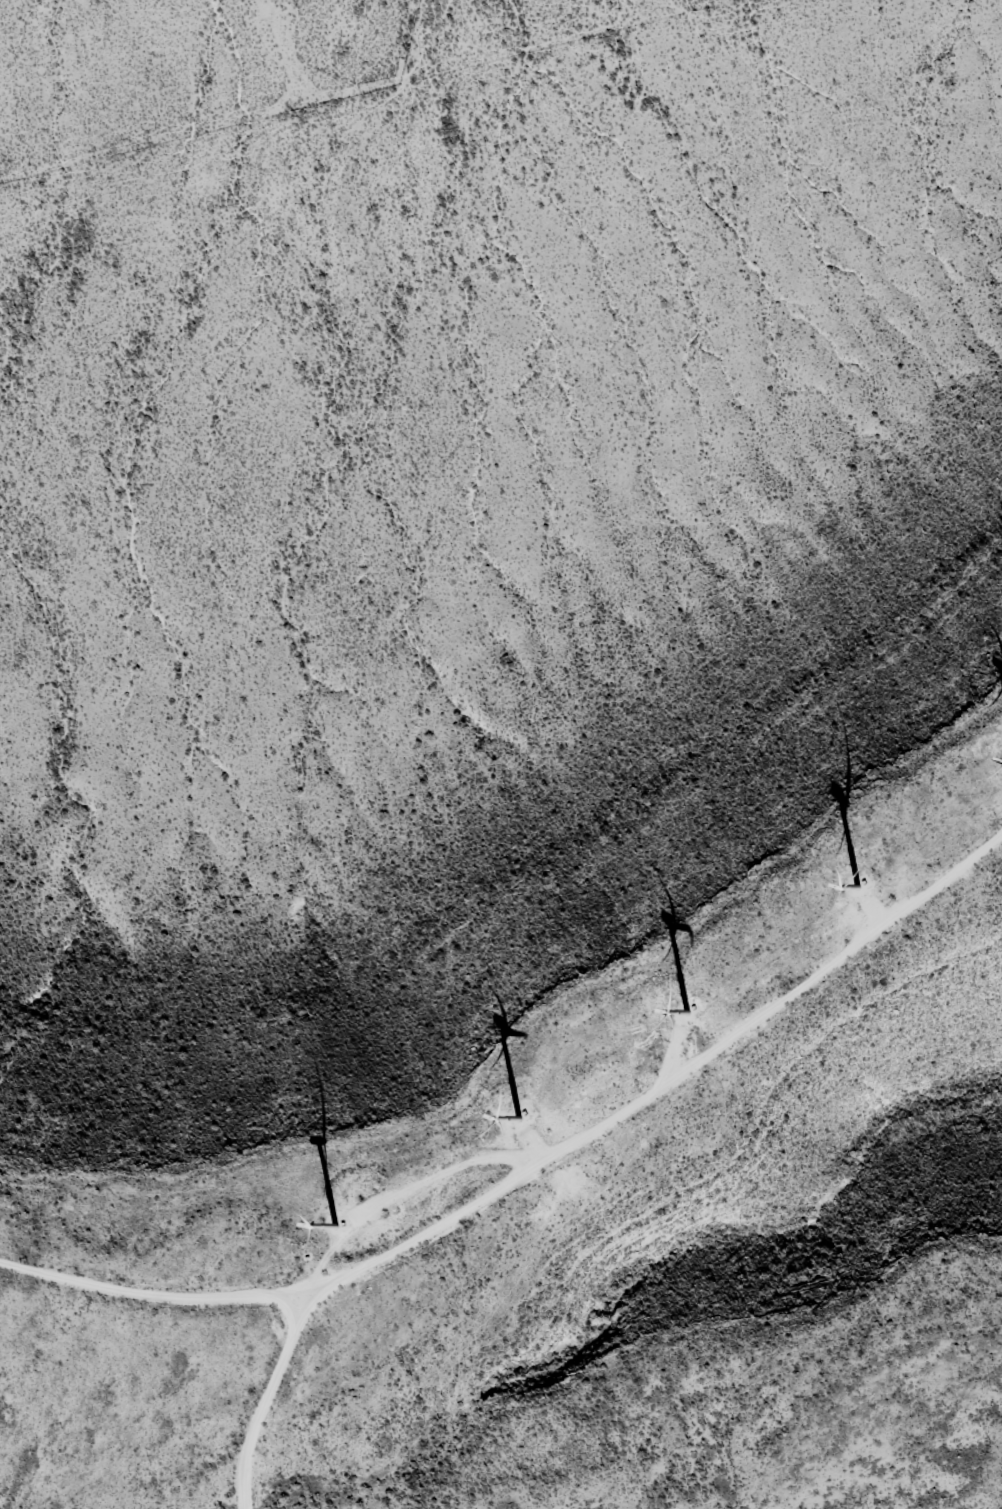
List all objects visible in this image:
wind turbine: (855, 883)
wind turbine: (678, 1025)
wind turbine: (524, 1120)
wind turbine: (329, 1224)

